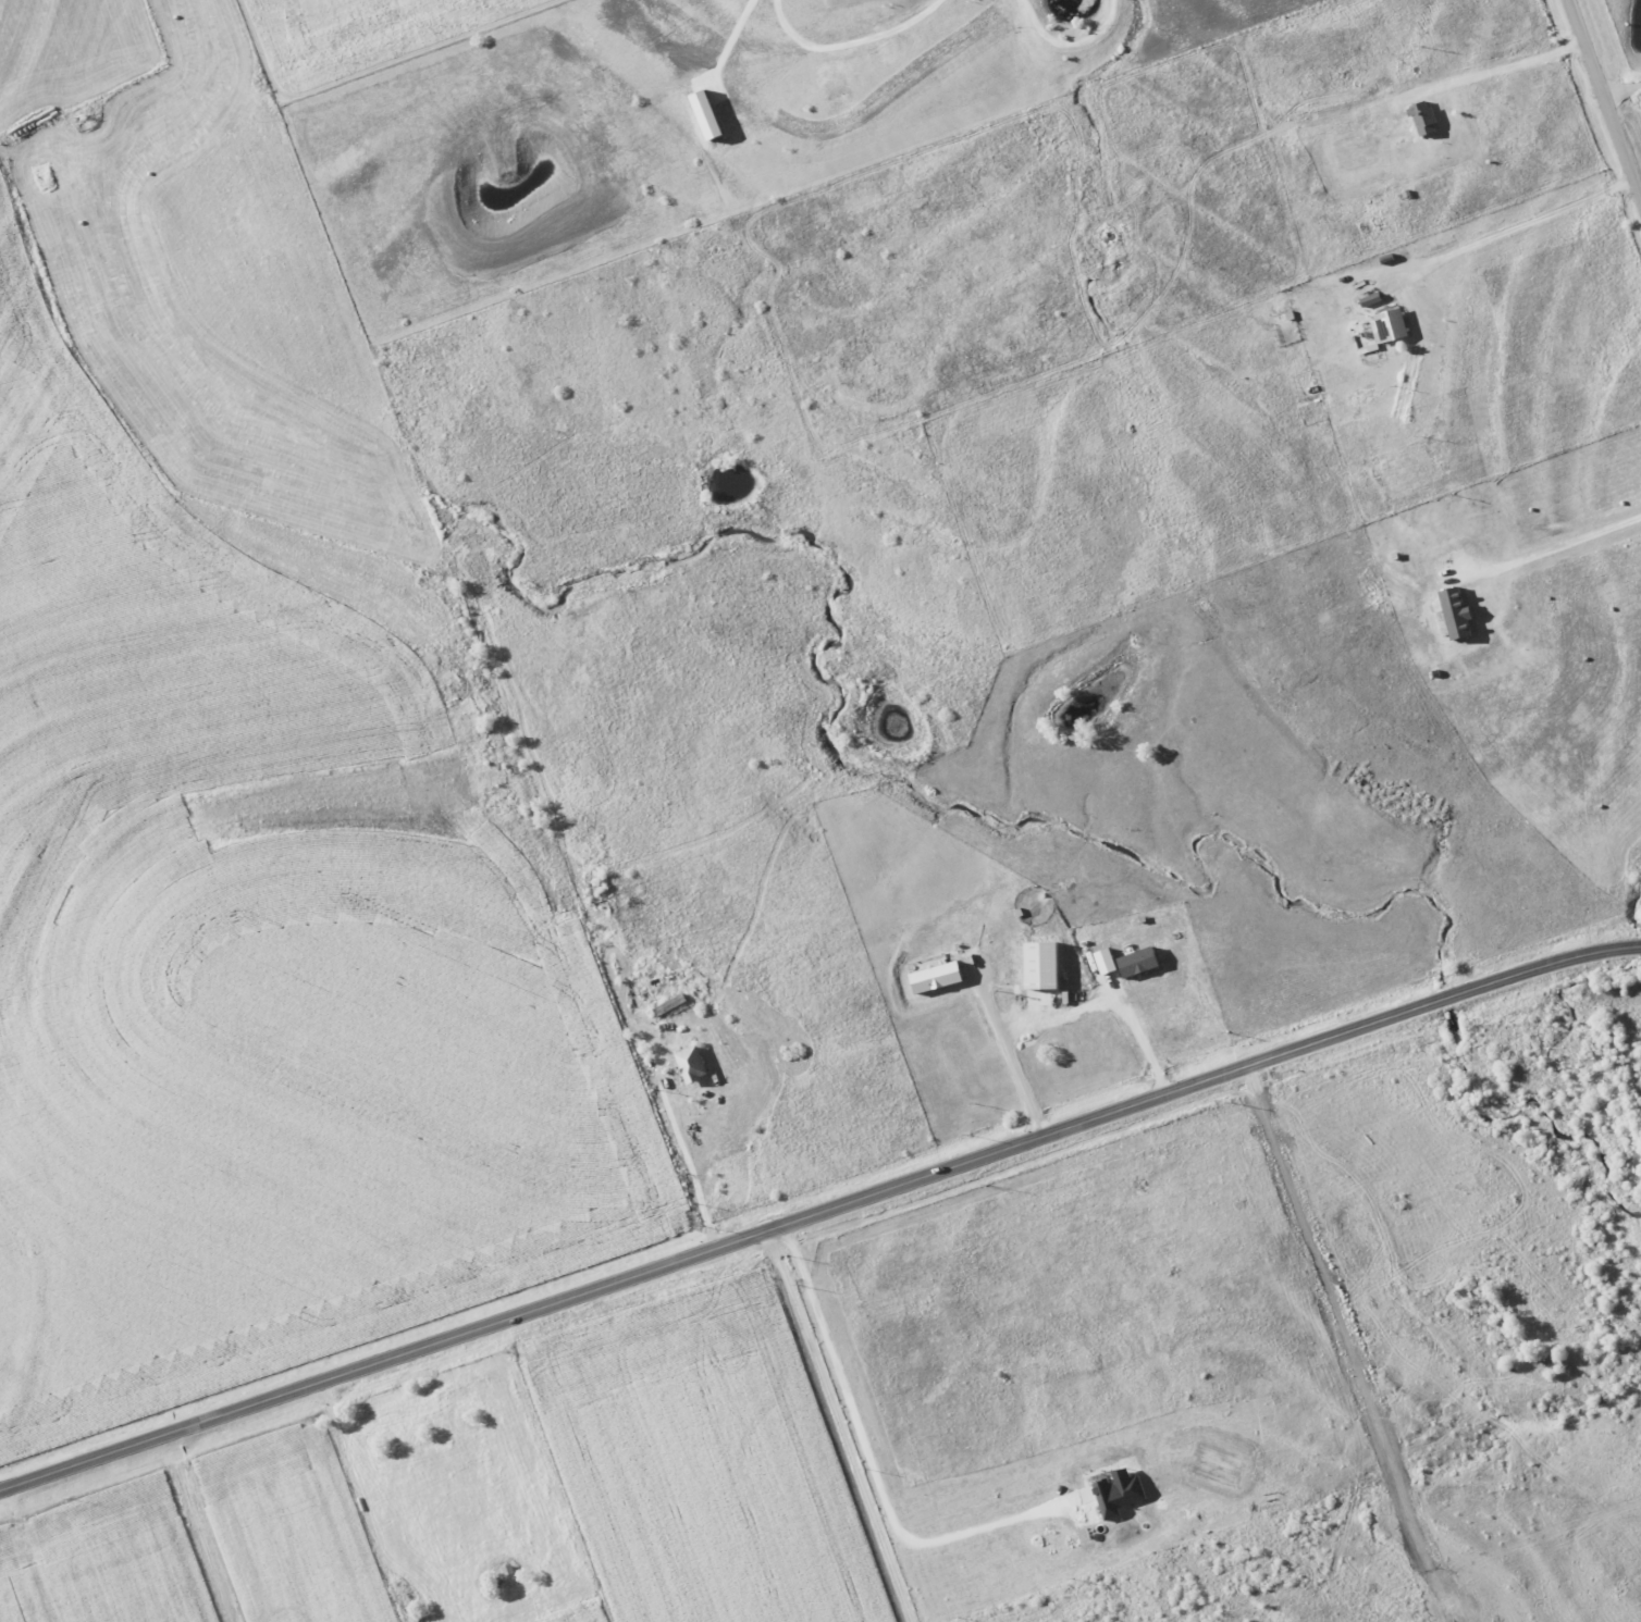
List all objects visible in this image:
road: (854, 41)
road: (1076, 42)
road: (1504, 67)
road: (1623, 91)
road: (1604, 99)
building: (713, 115)
building: (1422, 122)
road: (1525, 223)
building: (1385, 326)
road: (1565, 543)
building: (1453, 612)
building: (1100, 961)
building: (1135, 962)
building: (1036, 965)
building: (931, 977)
road: (1144, 1044)
road: (1008, 1060)
building: (688, 1064)
road: (705, 1171)
road: (819, 1213)
road: (836, 1426)
road: (868, 1457)
building: (1115, 1491)

